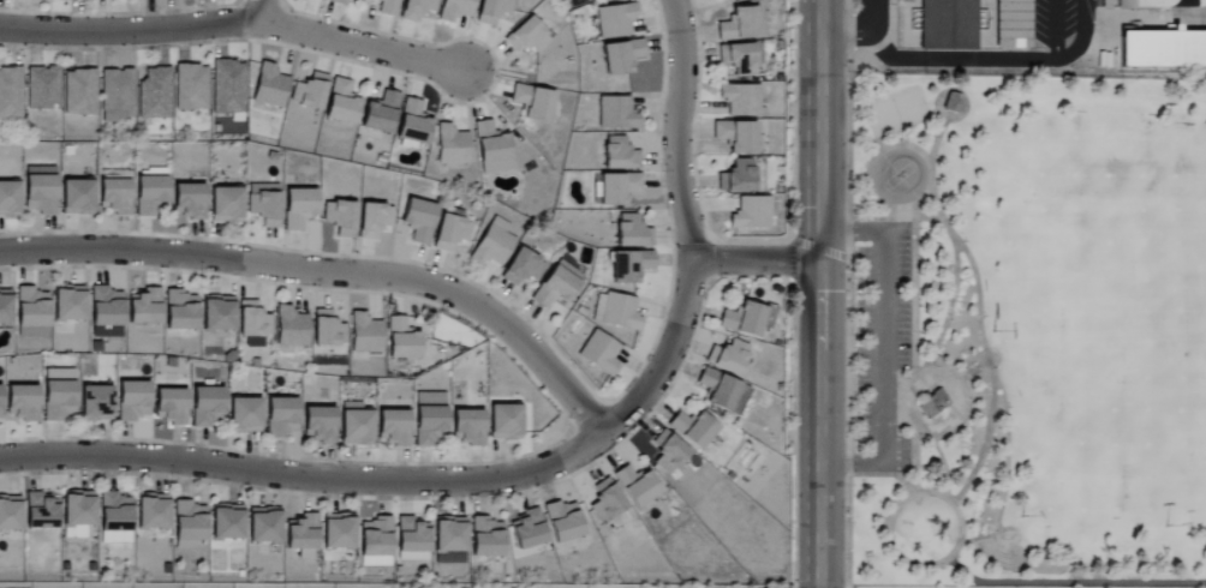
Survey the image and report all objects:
building: (324, 0)
building: (338, 1)
building: (1105, 4)
building: (1126, 4)
building: (387, 7)
building: (416, 10)
building: (455, 10)
building: (492, 11)
road: (1056, 11)
road: (258, 12)
building: (615, 20)
building: (1013, 23)
road: (234, 24)
building: (739, 24)
building: (948, 24)
road: (861, 32)
building: (526, 37)
building: (1163, 48)
road: (1071, 53)
building: (621, 56)
building: (736, 59)
road: (957, 59)
building: (191, 86)
building: (227, 86)
building: (269, 86)
building: (42, 88)
building: (79, 91)
building: (309, 91)
building: (154, 92)
building: (10, 94)
building: (117, 95)
building: (740, 100)
building: (533, 102)
building: (341, 103)
building: (950, 103)
building: (381, 113)
building: (616, 113)
park: (895, 113)
building: (413, 122)
road: (675, 128)
building: (735, 136)
building: (452, 145)
building: (491, 148)
building: (619, 154)
park: (900, 176)
building: (738, 178)
building: (617, 188)
building: (40, 190)
building: (150, 194)
building: (114, 196)
building: (76, 197)
building: (8, 198)
building: (187, 200)
building: (225, 204)
building: (264, 204)
park: (1114, 204)
building: (298, 208)
building: (751, 214)
building: (340, 218)
building: (374, 220)
building: (418, 220)
building: (632, 232)
building: (450, 233)
building: (491, 246)
road: (955, 252)
road: (754, 259)
building: (629, 265)
building: (521, 266)
road: (332, 271)
building: (557, 284)
road: (819, 294)
building: (68, 304)
building: (5, 307)
building: (105, 307)
building: (143, 307)
building: (180, 311)
building: (31, 313)
building: (217, 313)
building: (747, 318)
building: (253, 320)
building: (291, 328)
building: (327, 330)
park: (1028, 331)
building: (365, 335)
building: (401, 340)
park: (1182, 341)
road: (884, 347)
building: (599, 353)
building: (728, 358)
road: (991, 371)
road: (971, 372)
building: (722, 391)
building: (58, 394)
building: (132, 401)
building: (22, 402)
building: (95, 403)
road: (960, 403)
building: (932, 404)
building: (171, 406)
building: (207, 407)
park: (1083, 409)
building: (0, 415)
building: (244, 415)
building: (281, 418)
building: (429, 418)
building: (503, 422)
building: (320, 424)
building: (356, 425)
building: (393, 427)
building: (468, 427)
building: (693, 428)
building: (668, 452)
park: (1182, 452)
road: (1008, 455)
road: (943, 464)
road: (407, 482)
building: (637, 486)
building: (605, 500)
building: (41, 511)
building: (151, 512)
building: (10, 514)
building: (78, 514)
building: (114, 520)
building: (562, 521)
building: (226, 522)
building: (189, 524)
building: (263, 526)
building: (527, 530)
building: (338, 532)
building: (303, 536)
building: (486, 538)
building: (412, 540)
building: (449, 540)
building: (375, 542)
road: (897, 554)
road: (1073, 582)

